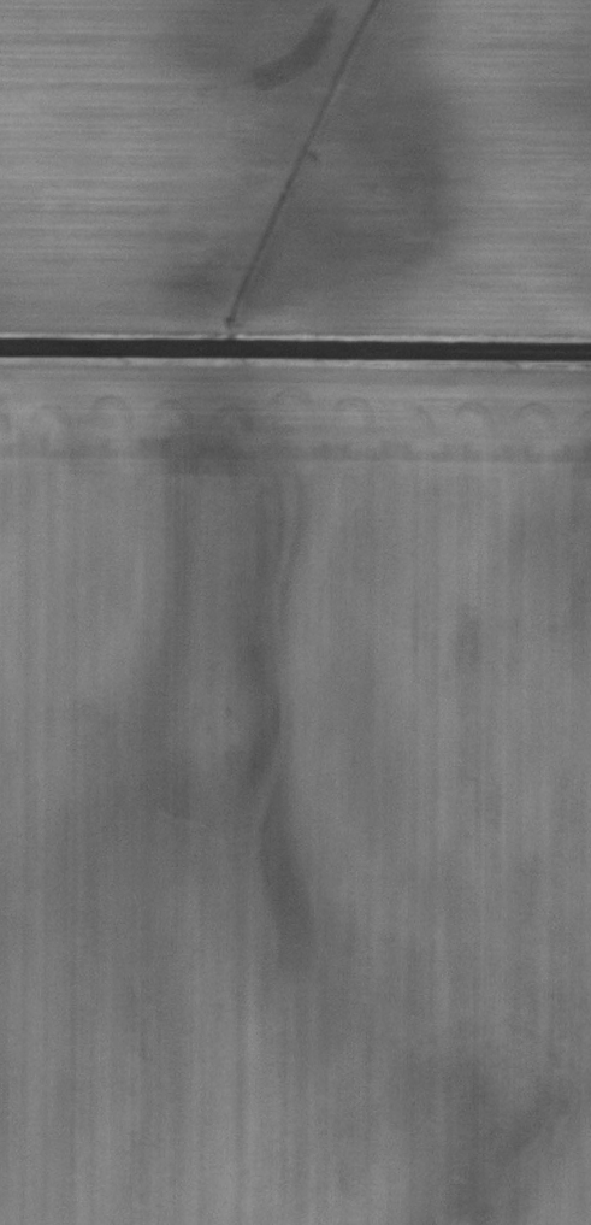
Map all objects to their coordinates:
road: (295, 354)

